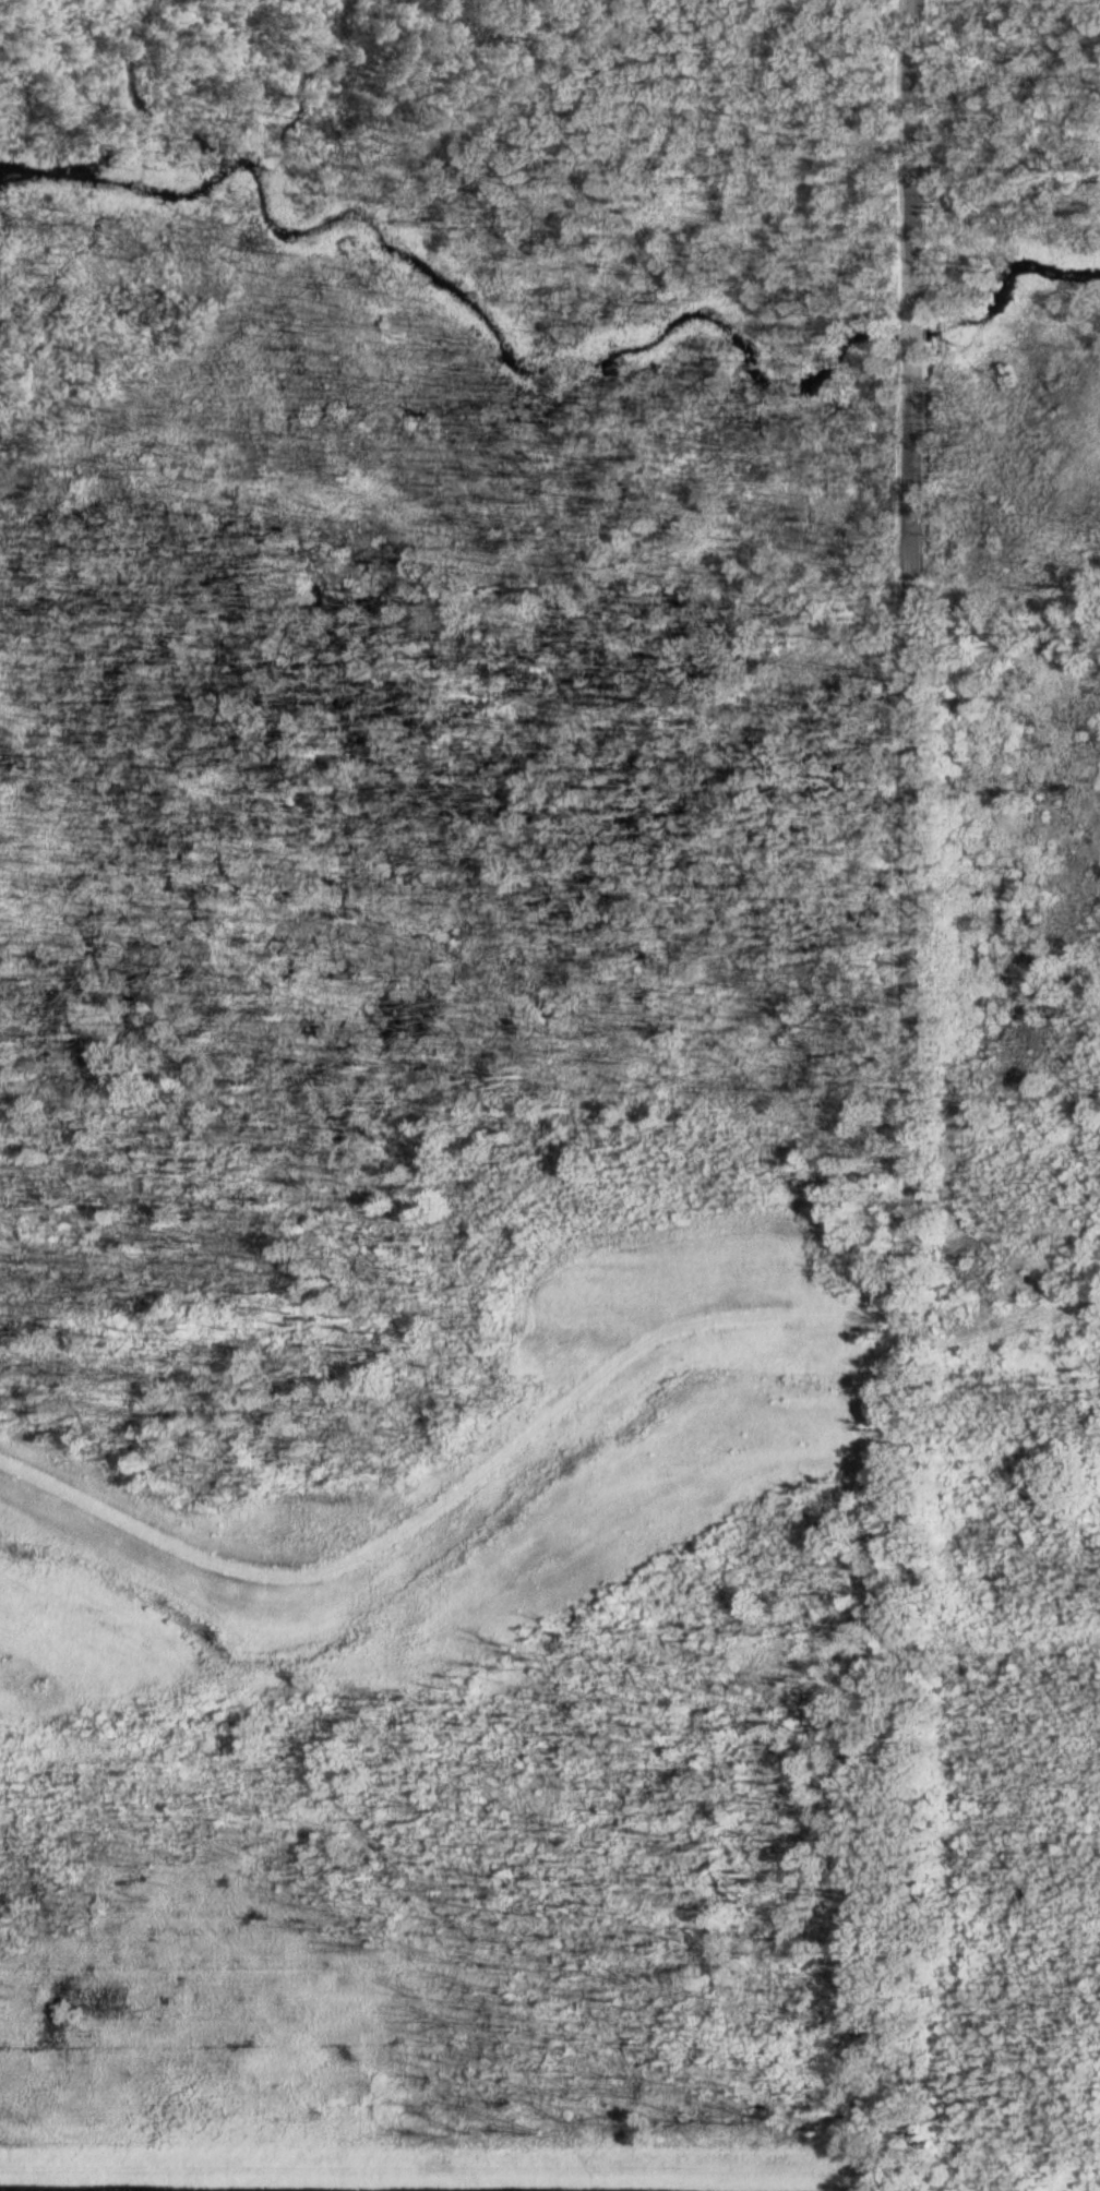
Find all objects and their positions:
road: (914, 1095)

